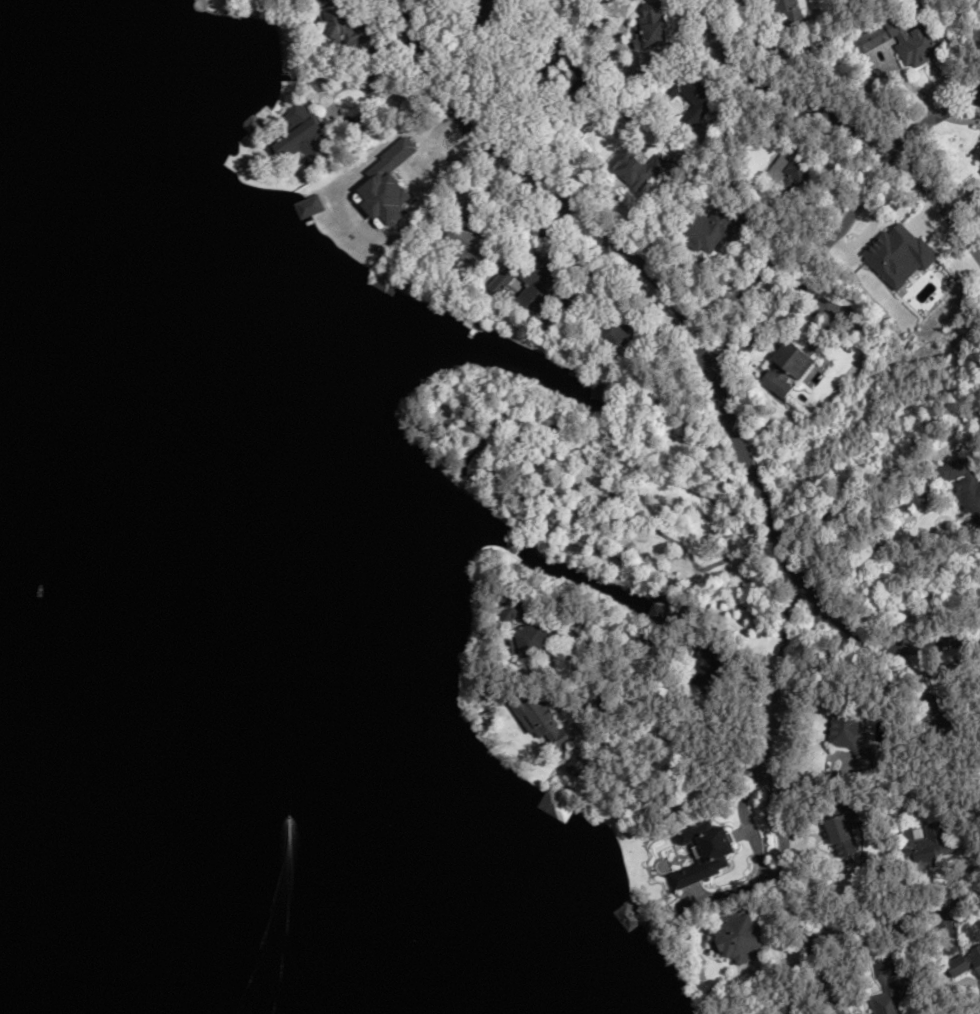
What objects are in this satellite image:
building: (489, 8)
building: (792, 16)
building: (340, 24)
building: (649, 27)
building: (902, 40)
building: (577, 69)
building: (544, 71)
road: (775, 95)
building: (688, 97)
road: (930, 117)
building: (302, 135)
building: (976, 154)
building: (638, 167)
building: (798, 171)
road: (858, 200)
road: (937, 204)
building: (711, 228)
building: (470, 236)
road: (752, 270)
building: (529, 281)
building: (383, 283)
road: (775, 292)
building: (616, 336)
road: (700, 343)
road: (717, 350)
building: (790, 366)
building: (598, 393)
building: (964, 487)
building: (515, 606)
building: (659, 615)
building: (538, 639)
building: (707, 667)
building: (935, 708)
building: (546, 723)
building: (843, 730)
road: (679, 746)
road: (771, 811)
building: (842, 833)
building: (928, 846)
building: (703, 853)
road: (889, 912)
building: (740, 936)
building: (965, 963)
building: (890, 989)

